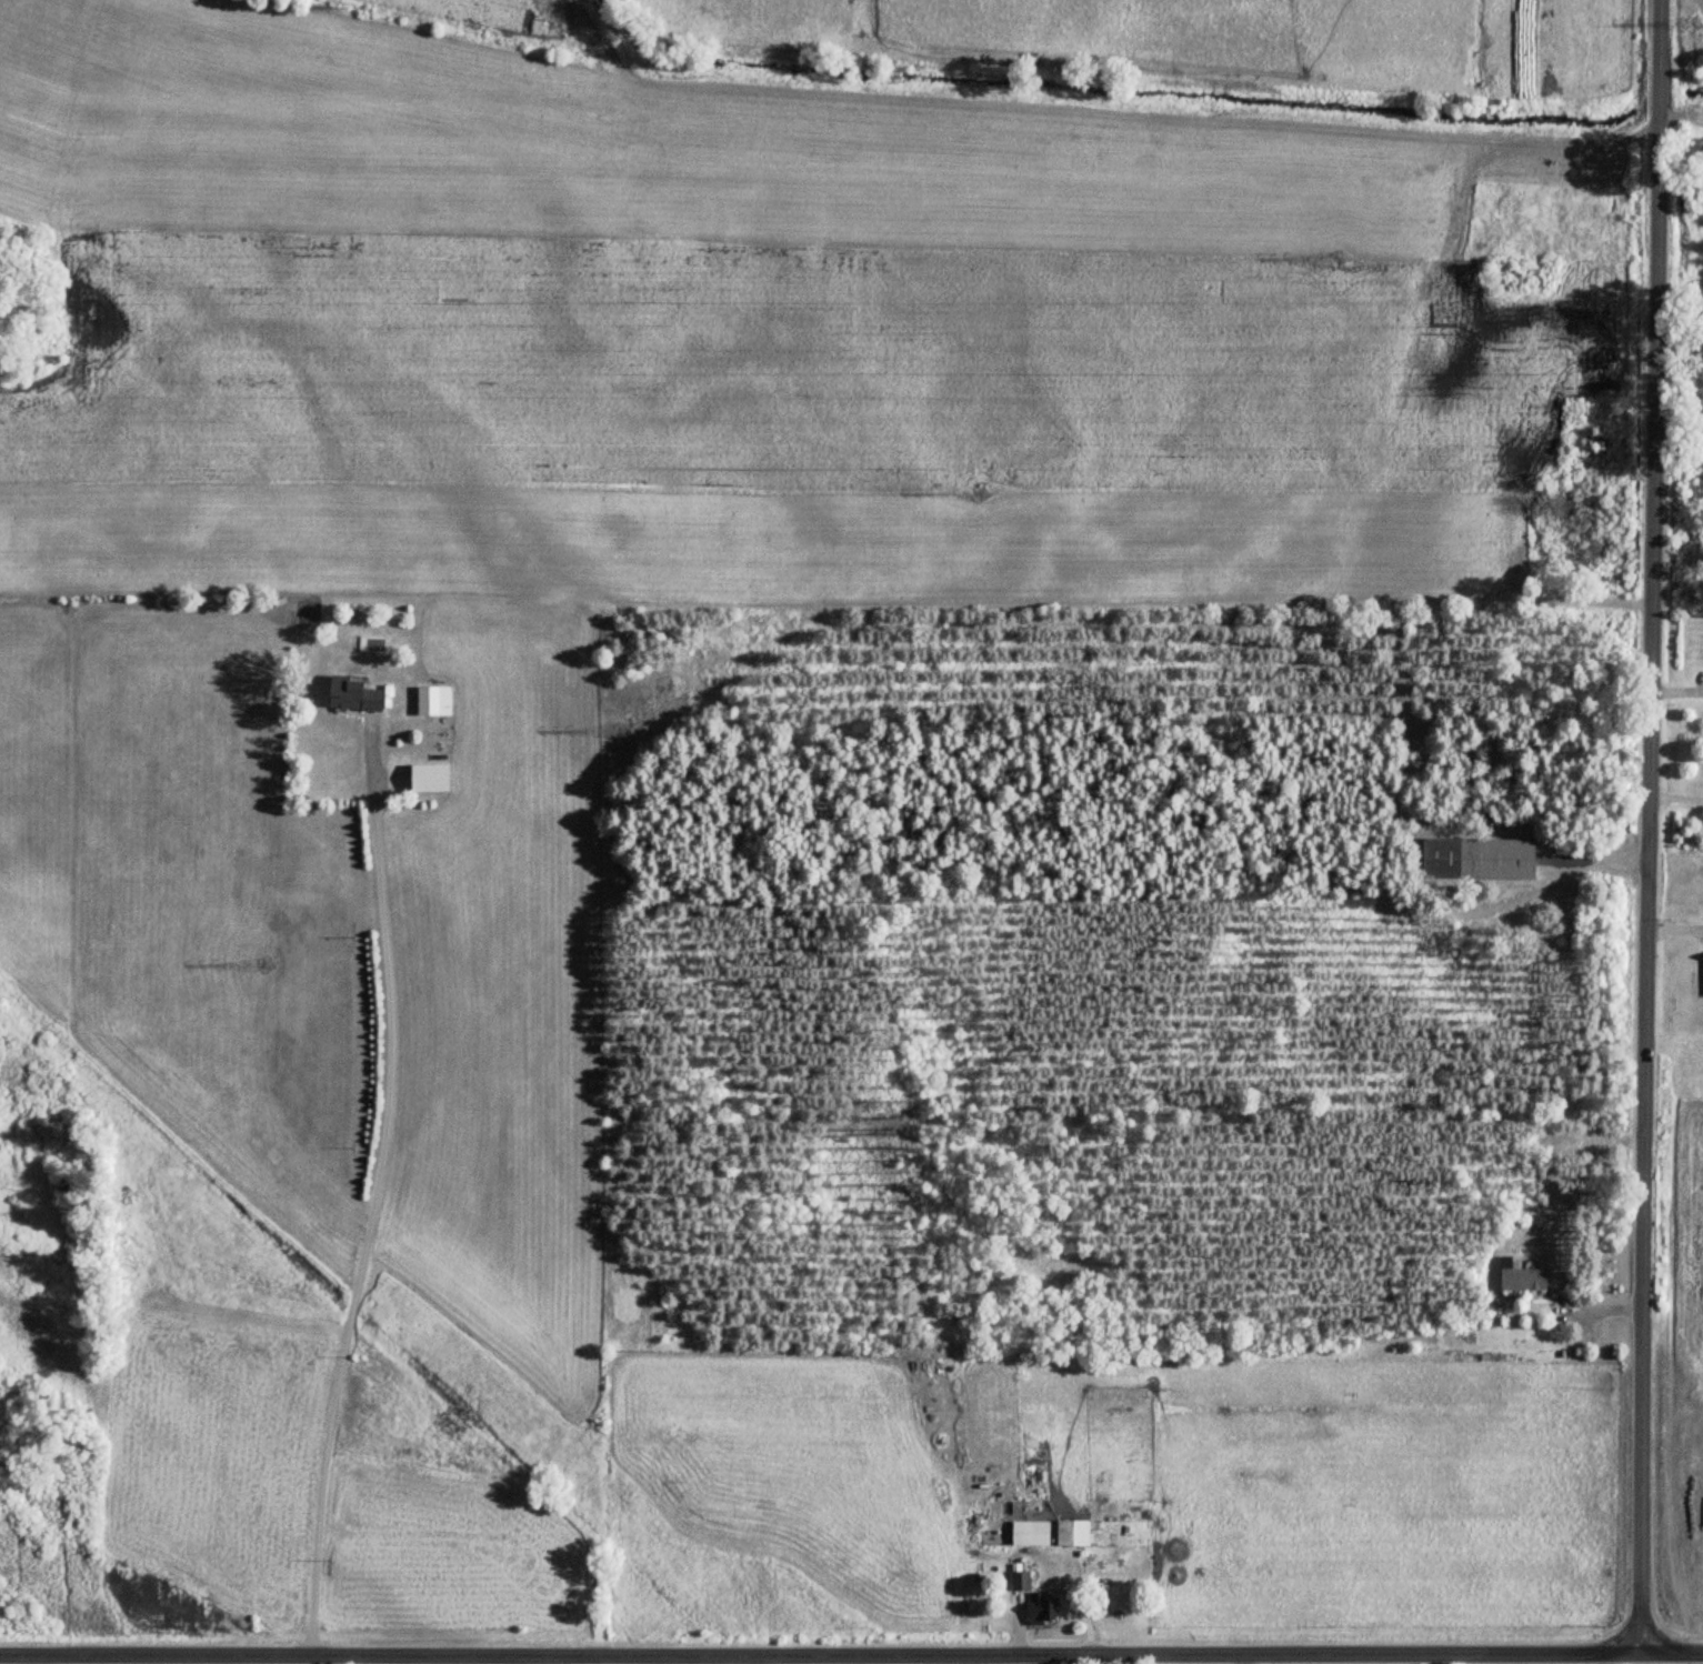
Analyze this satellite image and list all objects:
power tower: (1697, 20)
road: (1682, 110)
power tower: (1339, 259)
power tower: (979, 497)
building: (355, 695)
building: (435, 701)
power tower: (623, 729)
building: (431, 779)
road: (1676, 796)
road: (1650, 824)
building: (1480, 859)
road: (1676, 932)
power tower: (269, 964)
road: (362, 1211)
building: (1523, 1279)
road: (1596, 1312)
building: (1035, 1482)
building: (1032, 1533)
building: (1074, 1533)
building: (1022, 1581)
building: (1042, 1610)
road: (851, 1653)
road: (975, 1658)
road: (36, 1660)

